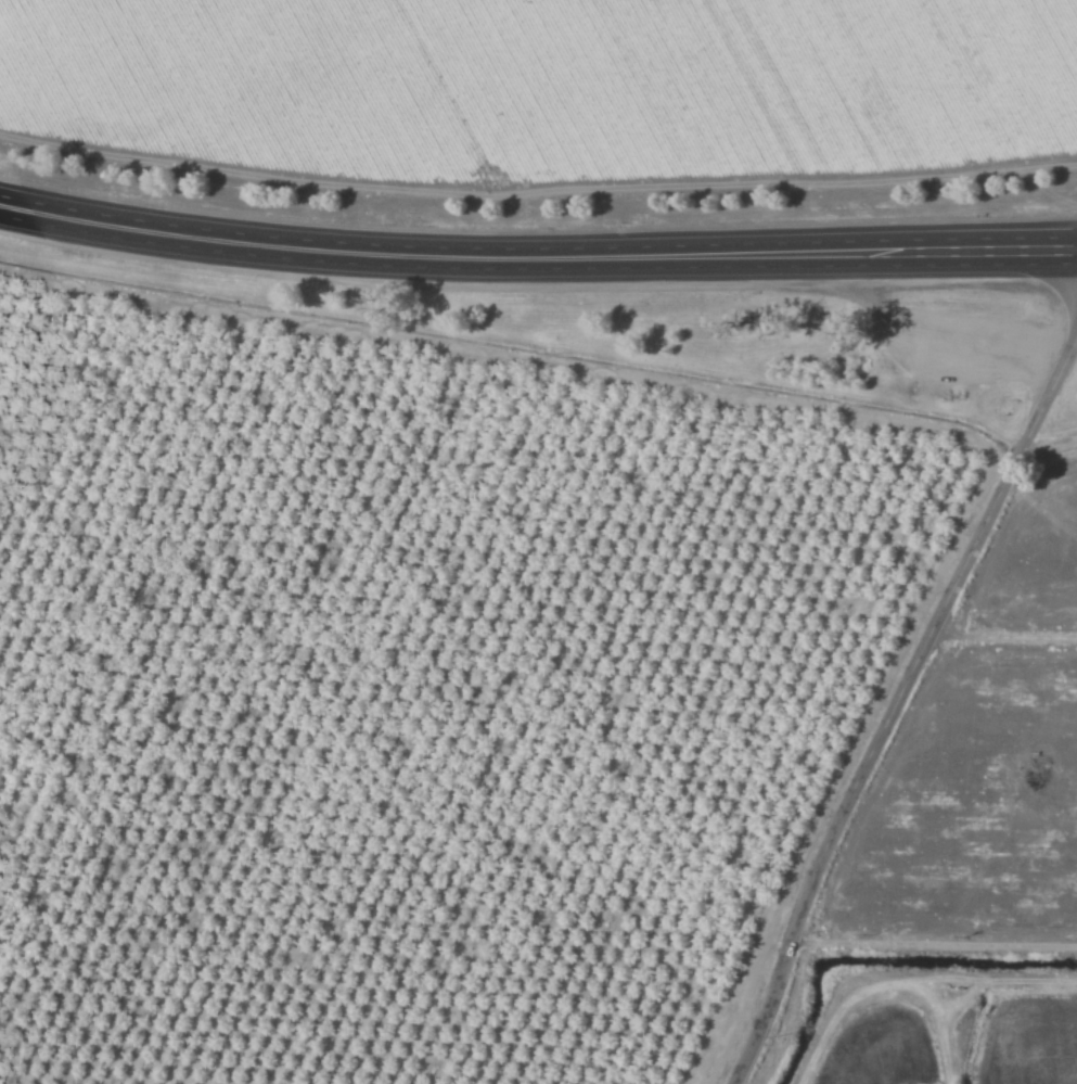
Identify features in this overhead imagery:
road: (976, 251)
road: (436, 256)
railway: (535, 310)
road: (899, 707)

